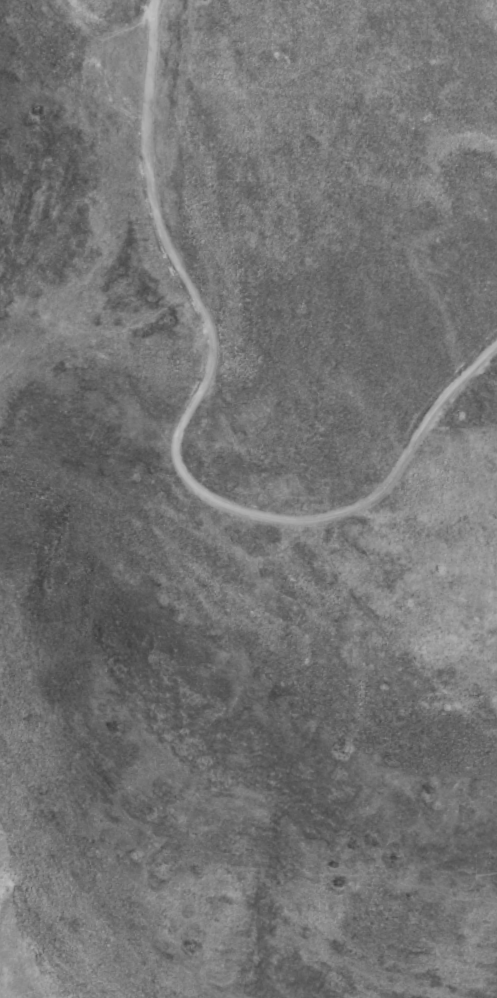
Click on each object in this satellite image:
road: (178, 429)

